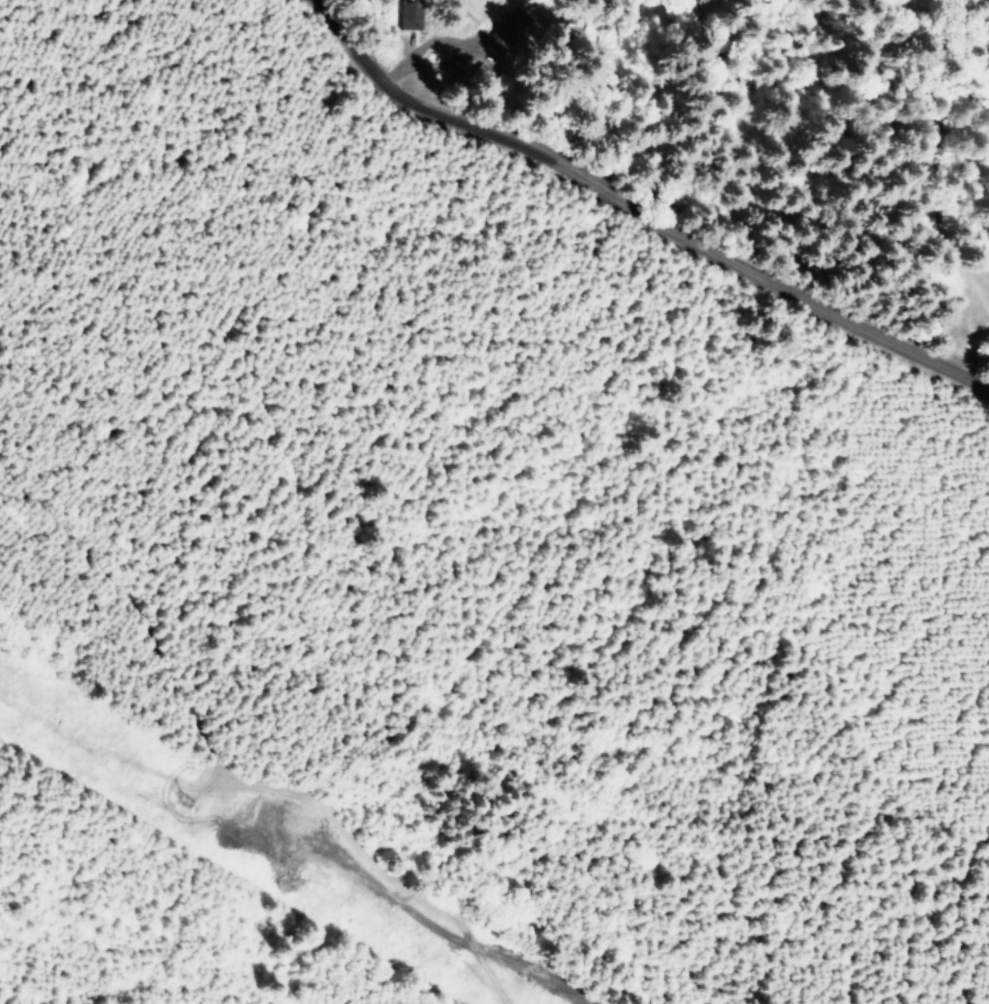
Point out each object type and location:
building: (507, 32)
road: (637, 202)
road: (149, 618)
power tower: (176, 792)

